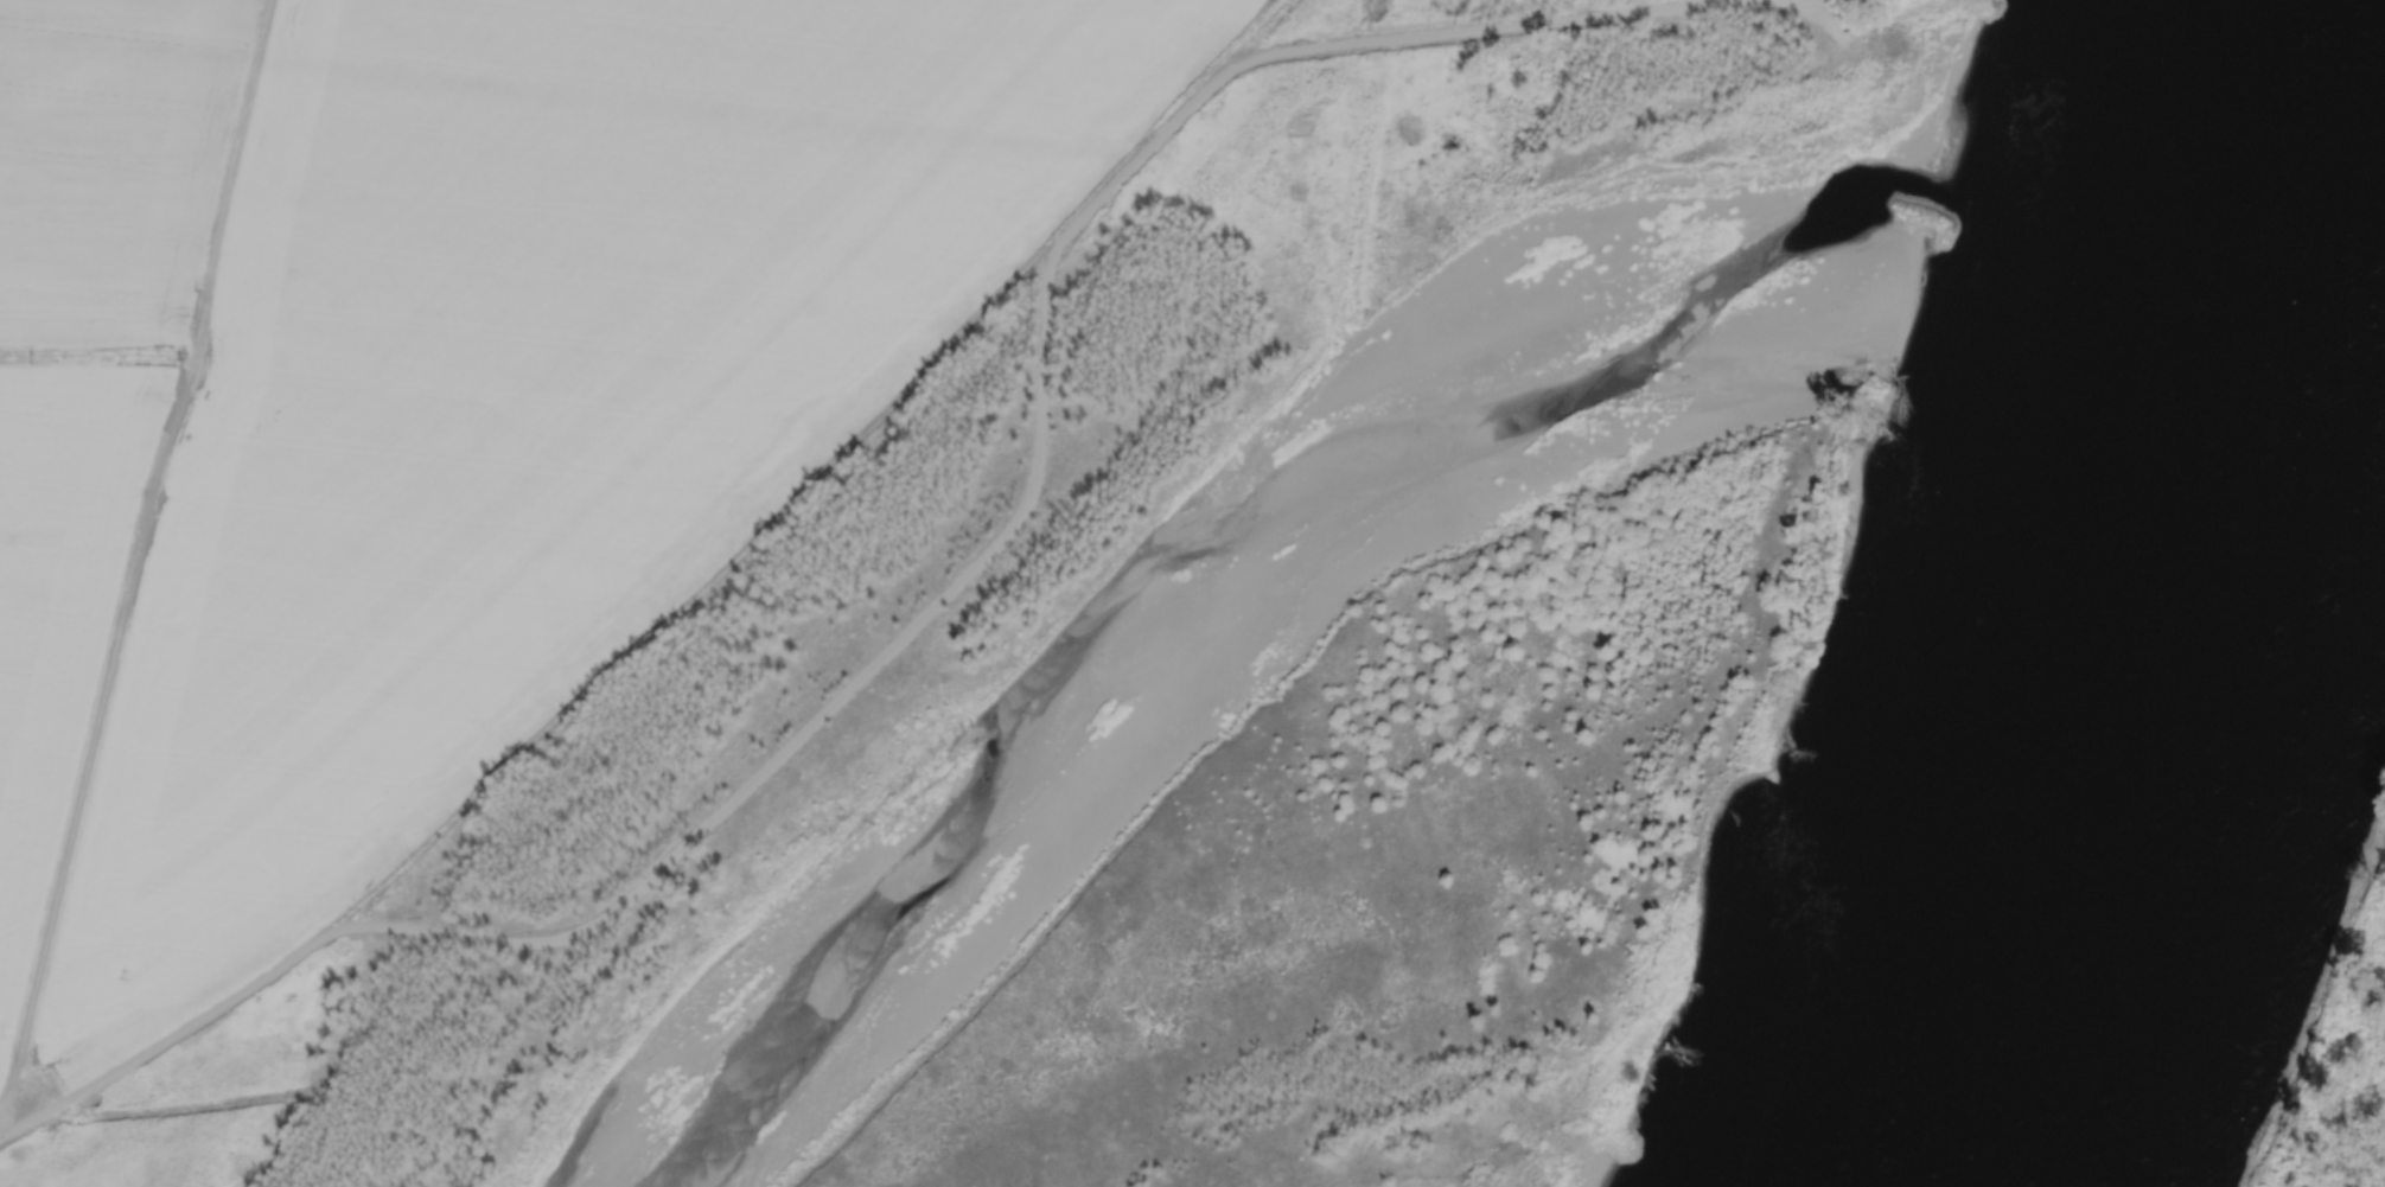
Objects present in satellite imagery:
road: (823, 471)
river: (2163, 612)

